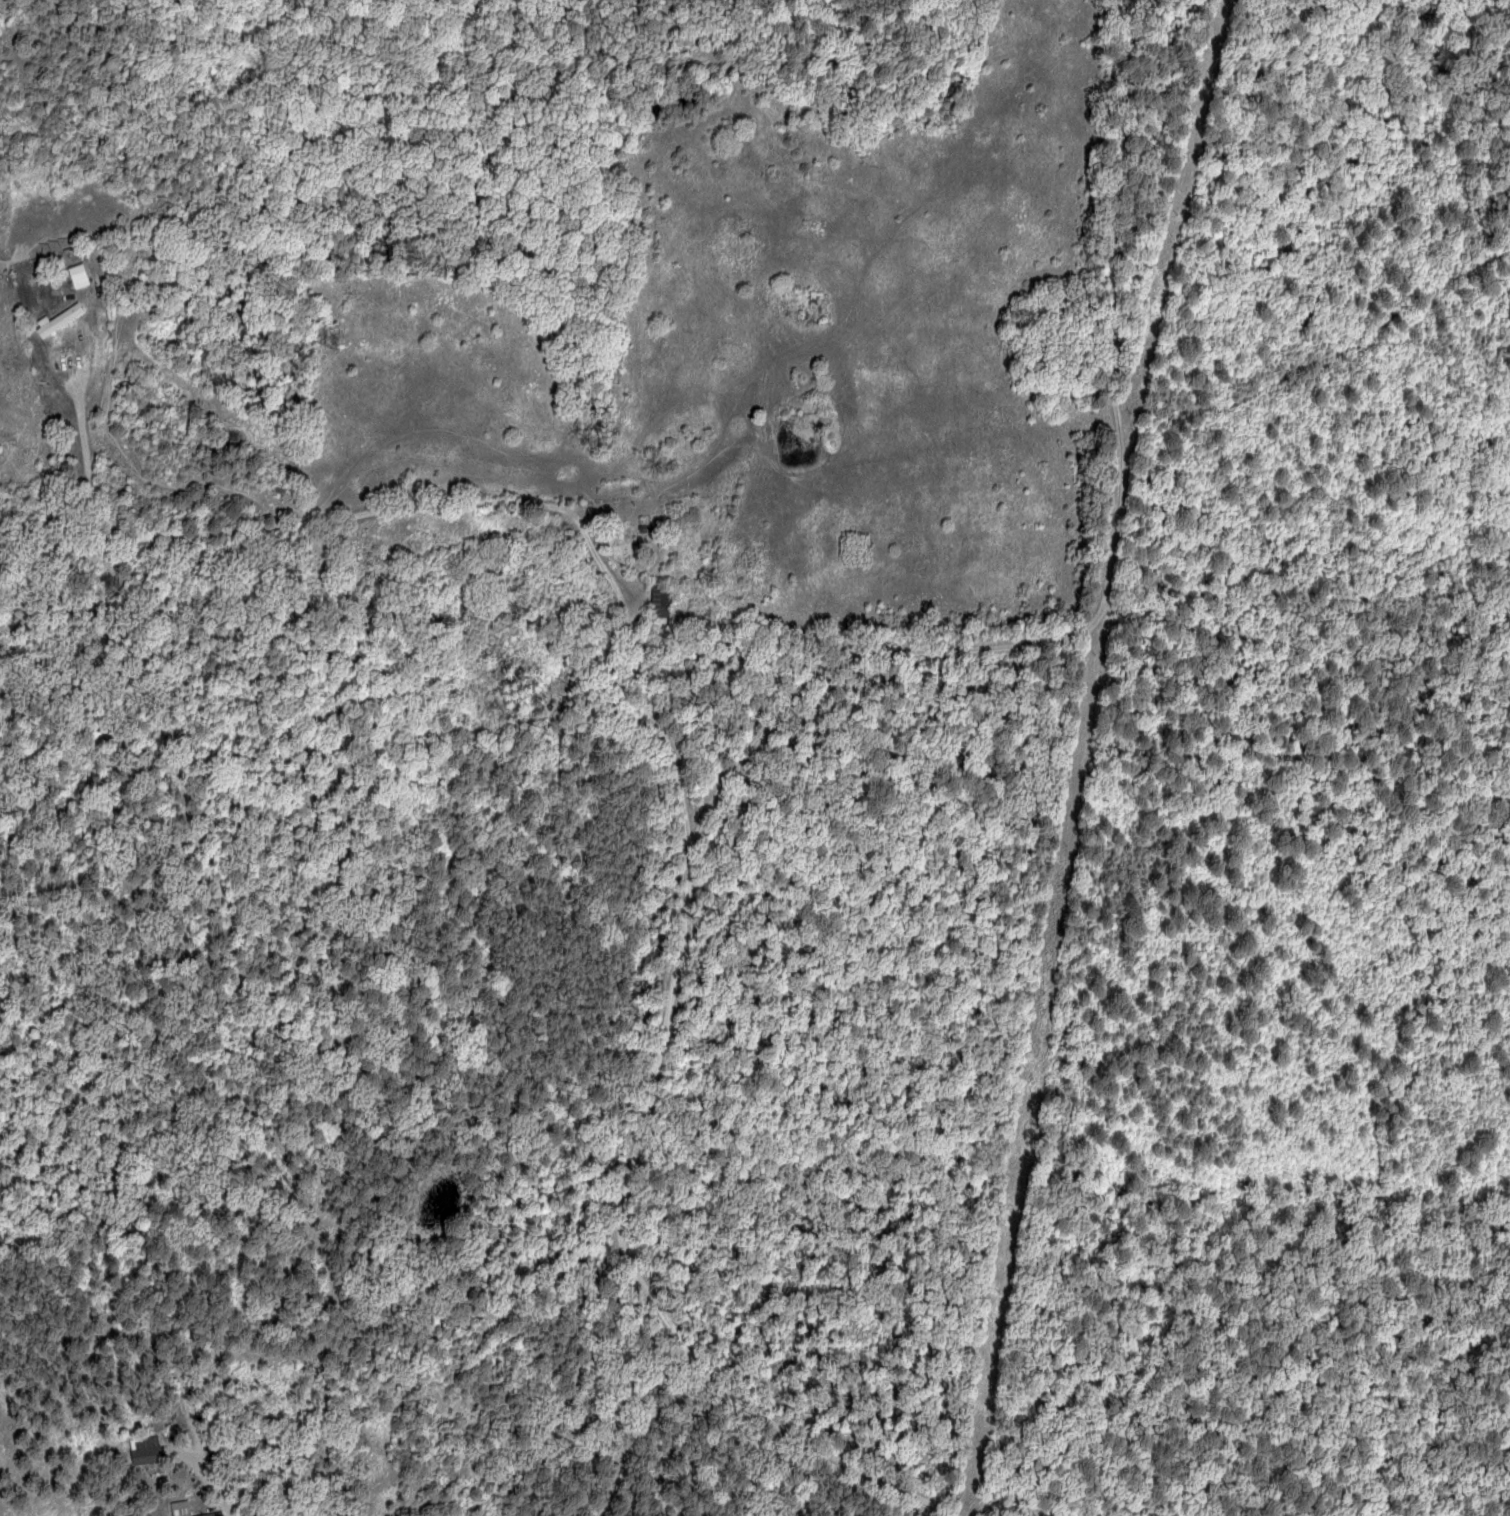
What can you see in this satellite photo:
building: (81, 276)
building: (61, 320)
road: (401, 485)
road: (703, 757)

